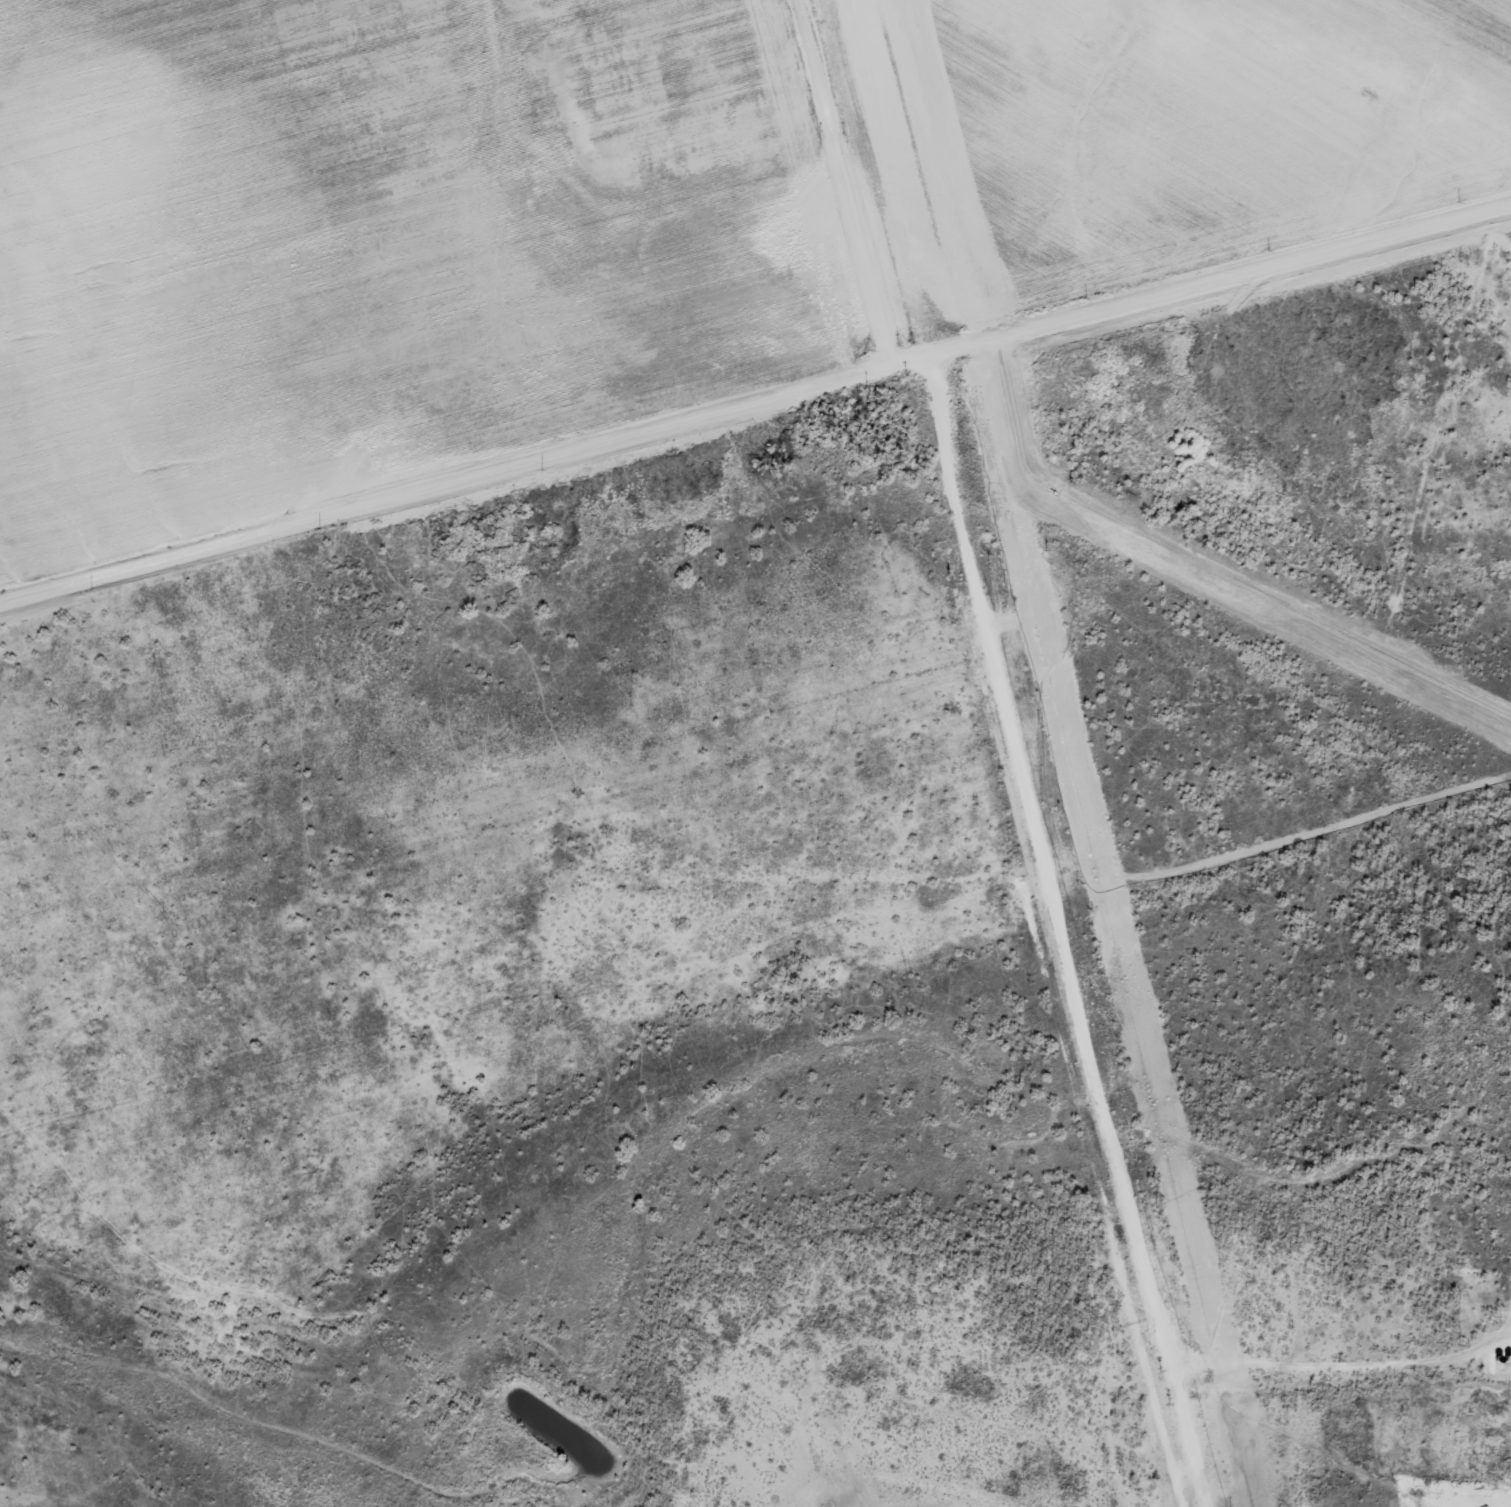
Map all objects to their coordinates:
road: (839, 170)
road: (890, 366)
road: (756, 424)

